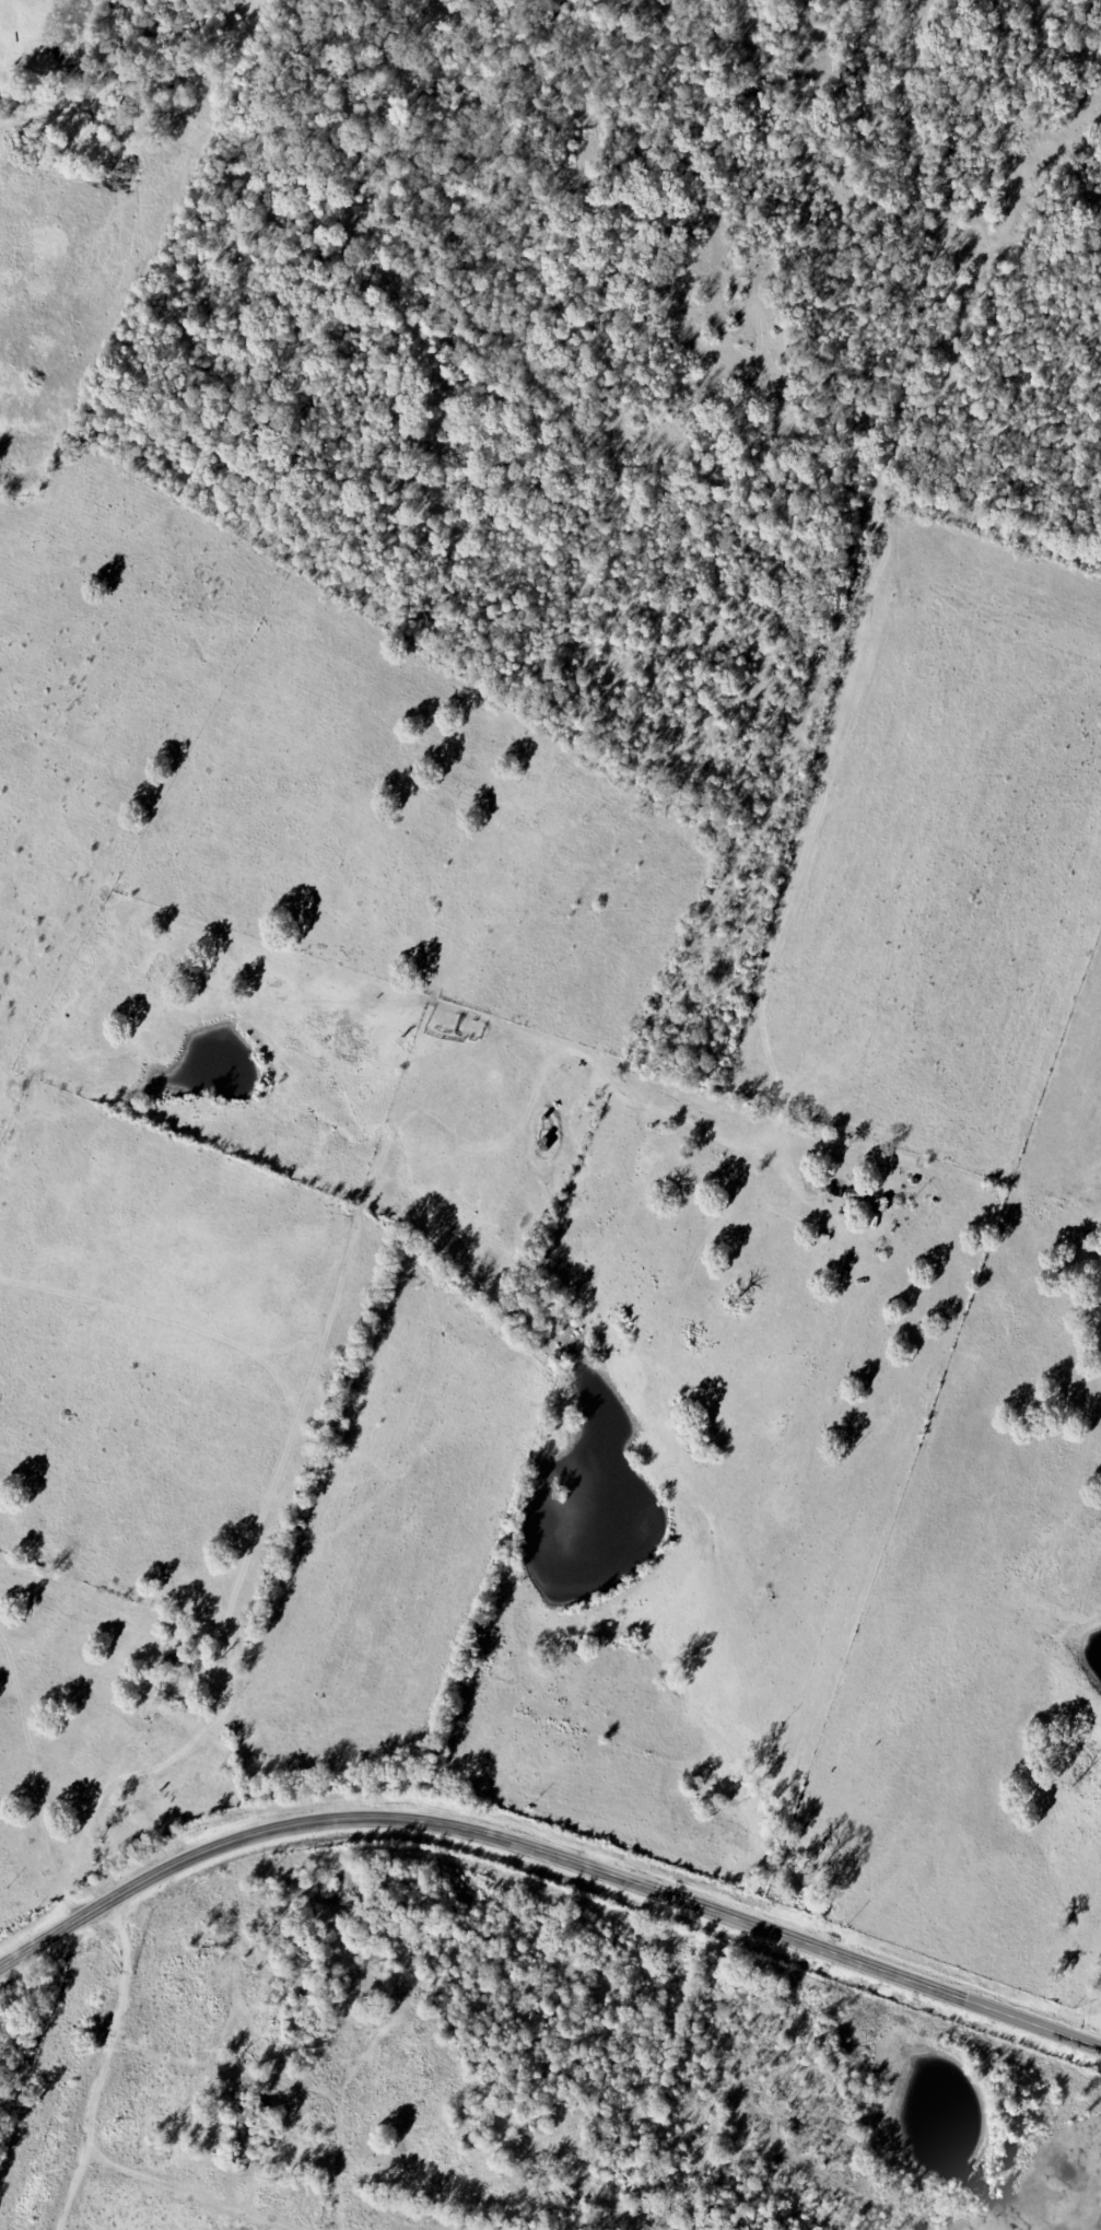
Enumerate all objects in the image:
road: (547, 1854)

